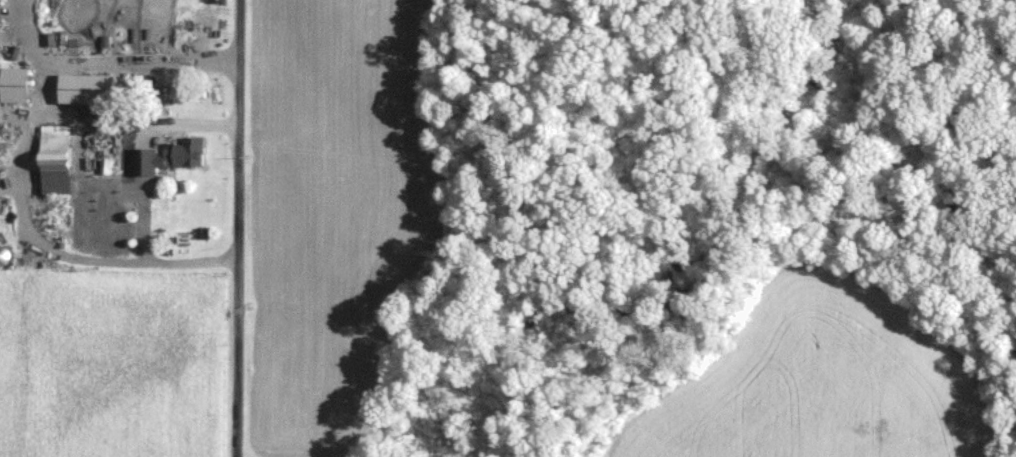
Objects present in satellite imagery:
building: (17, 83)
building: (88, 87)
road: (190, 124)
building: (172, 154)
building: (59, 158)
road: (12, 160)
road: (237, 228)

